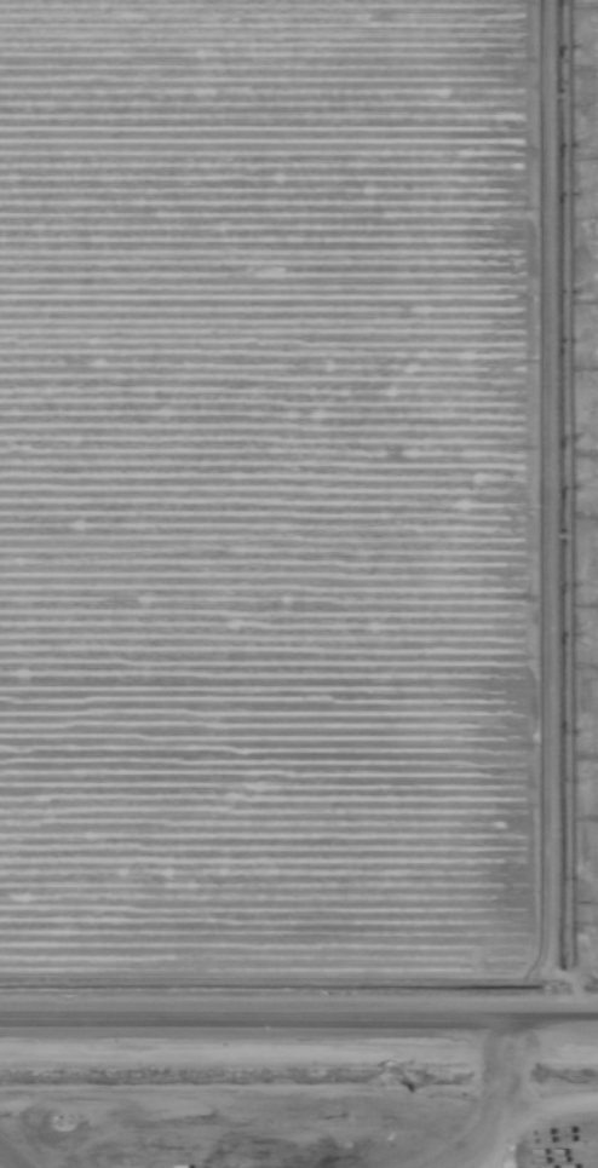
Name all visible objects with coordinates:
road: (299, 1022)

